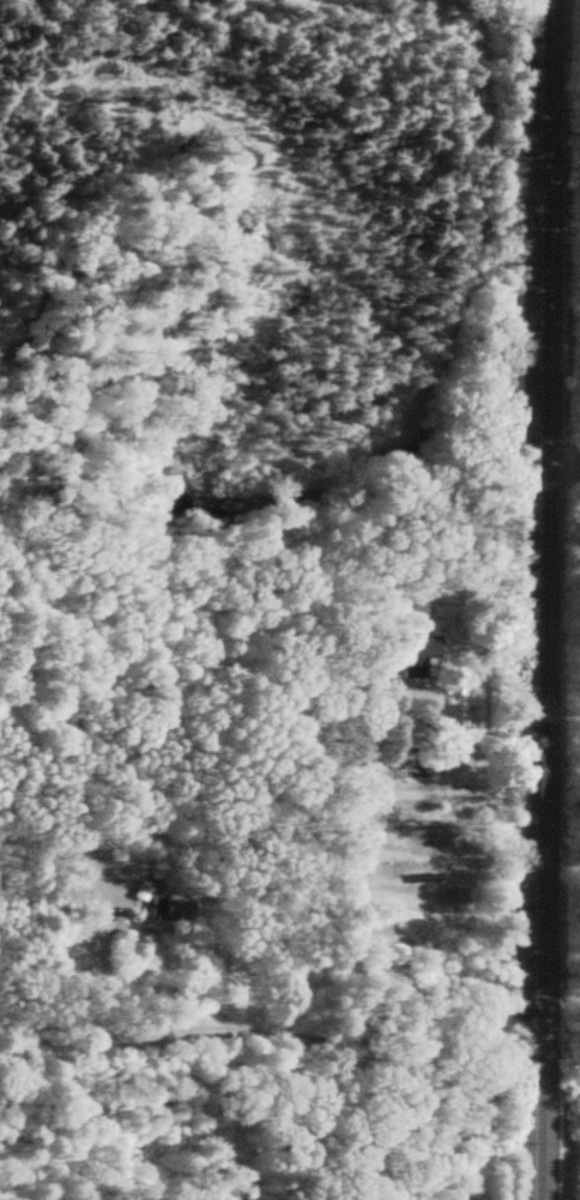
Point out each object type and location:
road: (561, 463)
road: (537, 600)
building: (406, 653)
building: (162, 909)
road: (261, 1032)
road: (62, 1137)
road: (300, 1147)

